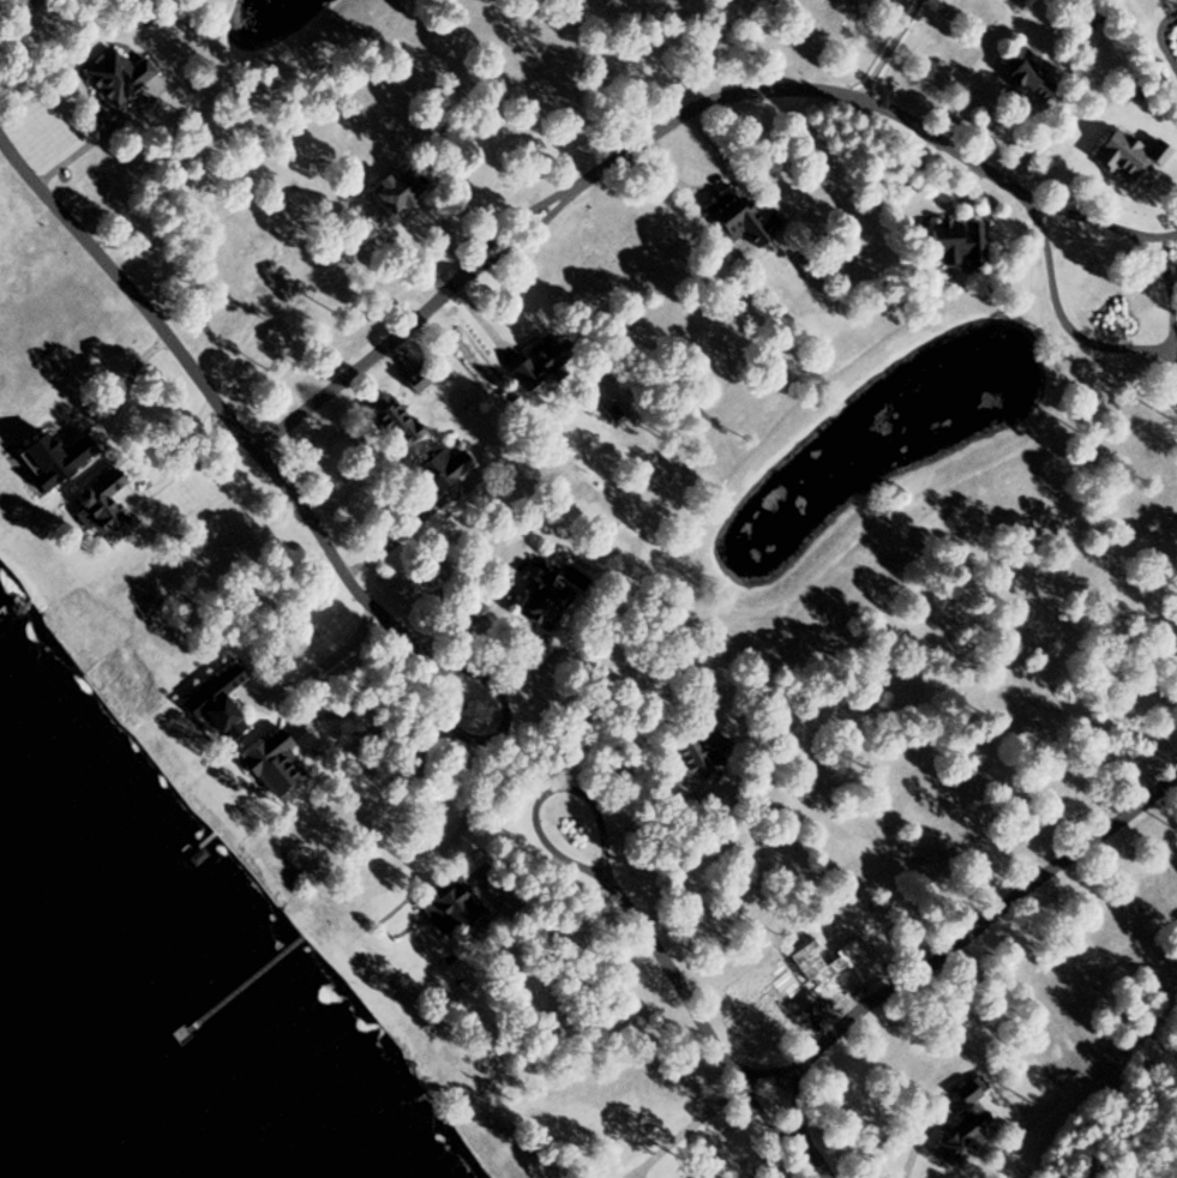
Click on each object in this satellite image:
road: (888, 49)
building: (1034, 71)
building: (125, 76)
road: (83, 148)
road: (618, 155)
building: (404, 191)
building: (741, 220)
building: (963, 244)
road: (1172, 269)
road: (1163, 345)
road: (1172, 353)
building: (547, 361)
road: (218, 402)
building: (401, 423)
building: (445, 470)
building: (548, 597)
building: (228, 702)
road: (498, 735)
building: (707, 758)
road: (544, 793)
building: (455, 907)
road: (983, 919)
road: (705, 1033)
road: (757, 1070)
building: (974, 1092)
road: (794, 1104)
road: (920, 1135)
building: (968, 1137)
road: (813, 1173)

